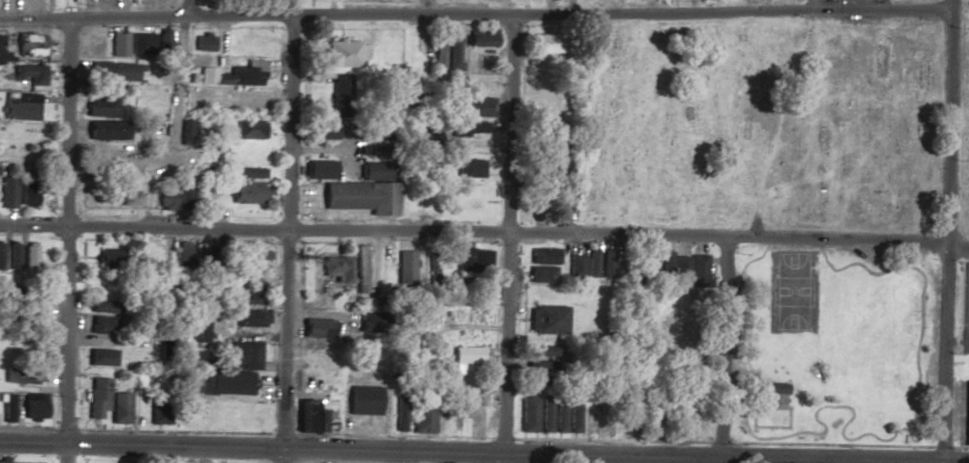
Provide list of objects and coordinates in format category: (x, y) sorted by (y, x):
road: (946, 4)
road: (810, 5)
road: (473, 14)
building: (479, 38)
building: (95, 42)
building: (203, 42)
building: (141, 44)
building: (164, 44)
building: (118, 45)
building: (29, 46)
building: (249, 47)
building: (3, 53)
building: (341, 54)
building: (451, 54)
building: (435, 58)
building: (146, 73)
building: (28, 74)
road: (173, 74)
building: (206, 76)
building: (242, 76)
building: (482, 83)
building: (342, 100)
building: (103, 105)
building: (19, 106)
building: (472, 107)
park: (776, 124)
building: (466, 128)
building: (248, 129)
building: (106, 130)
building: (320, 130)
building: (186, 132)
building: (542, 134)
road: (38, 156)
building: (248, 156)
building: (196, 164)
building: (542, 167)
building: (470, 169)
building: (319, 170)
building: (374, 171)
building: (248, 173)
building: (7, 192)
building: (244, 193)
building: (28, 194)
building: (357, 195)
building: (127, 198)
building: (165, 201)
building: (563, 205)
road: (484, 231)
road: (944, 235)
road: (65, 238)
road: (284, 238)
road: (497, 238)
building: (1, 256)
building: (14, 256)
building: (29, 257)
building: (255, 258)
building: (408, 258)
building: (108, 260)
building: (472, 260)
building: (542, 264)
building: (591, 264)
building: (607, 265)
building: (575, 266)
building: (336, 268)
building: (360, 269)
building: (244, 292)
park: (793, 292)
road: (32, 296)
building: (101, 307)
parking lot: (965, 307)
building: (34, 313)
building: (250, 318)
building: (547, 320)
building: (670, 323)
building: (100, 325)
building: (316, 328)
building: (193, 329)
park: (869, 341)
park: (830, 345)
road: (719, 350)
building: (542, 352)
building: (242, 355)
building: (467, 355)
building: (132, 356)
building: (100, 357)
building: (538, 365)
building: (209, 377)
building: (771, 388)
building: (96, 397)
building: (362, 400)
building: (6, 407)
building: (32, 407)
building: (967, 409)
building: (158, 410)
building: (119, 412)
building: (399, 415)
building: (528, 415)
building: (552, 415)
building: (573, 415)
building: (304, 416)
road: (851, 417)
building: (422, 419)
building: (588, 420)
building: (627, 423)
road: (484, 455)
building: (3, 461)

